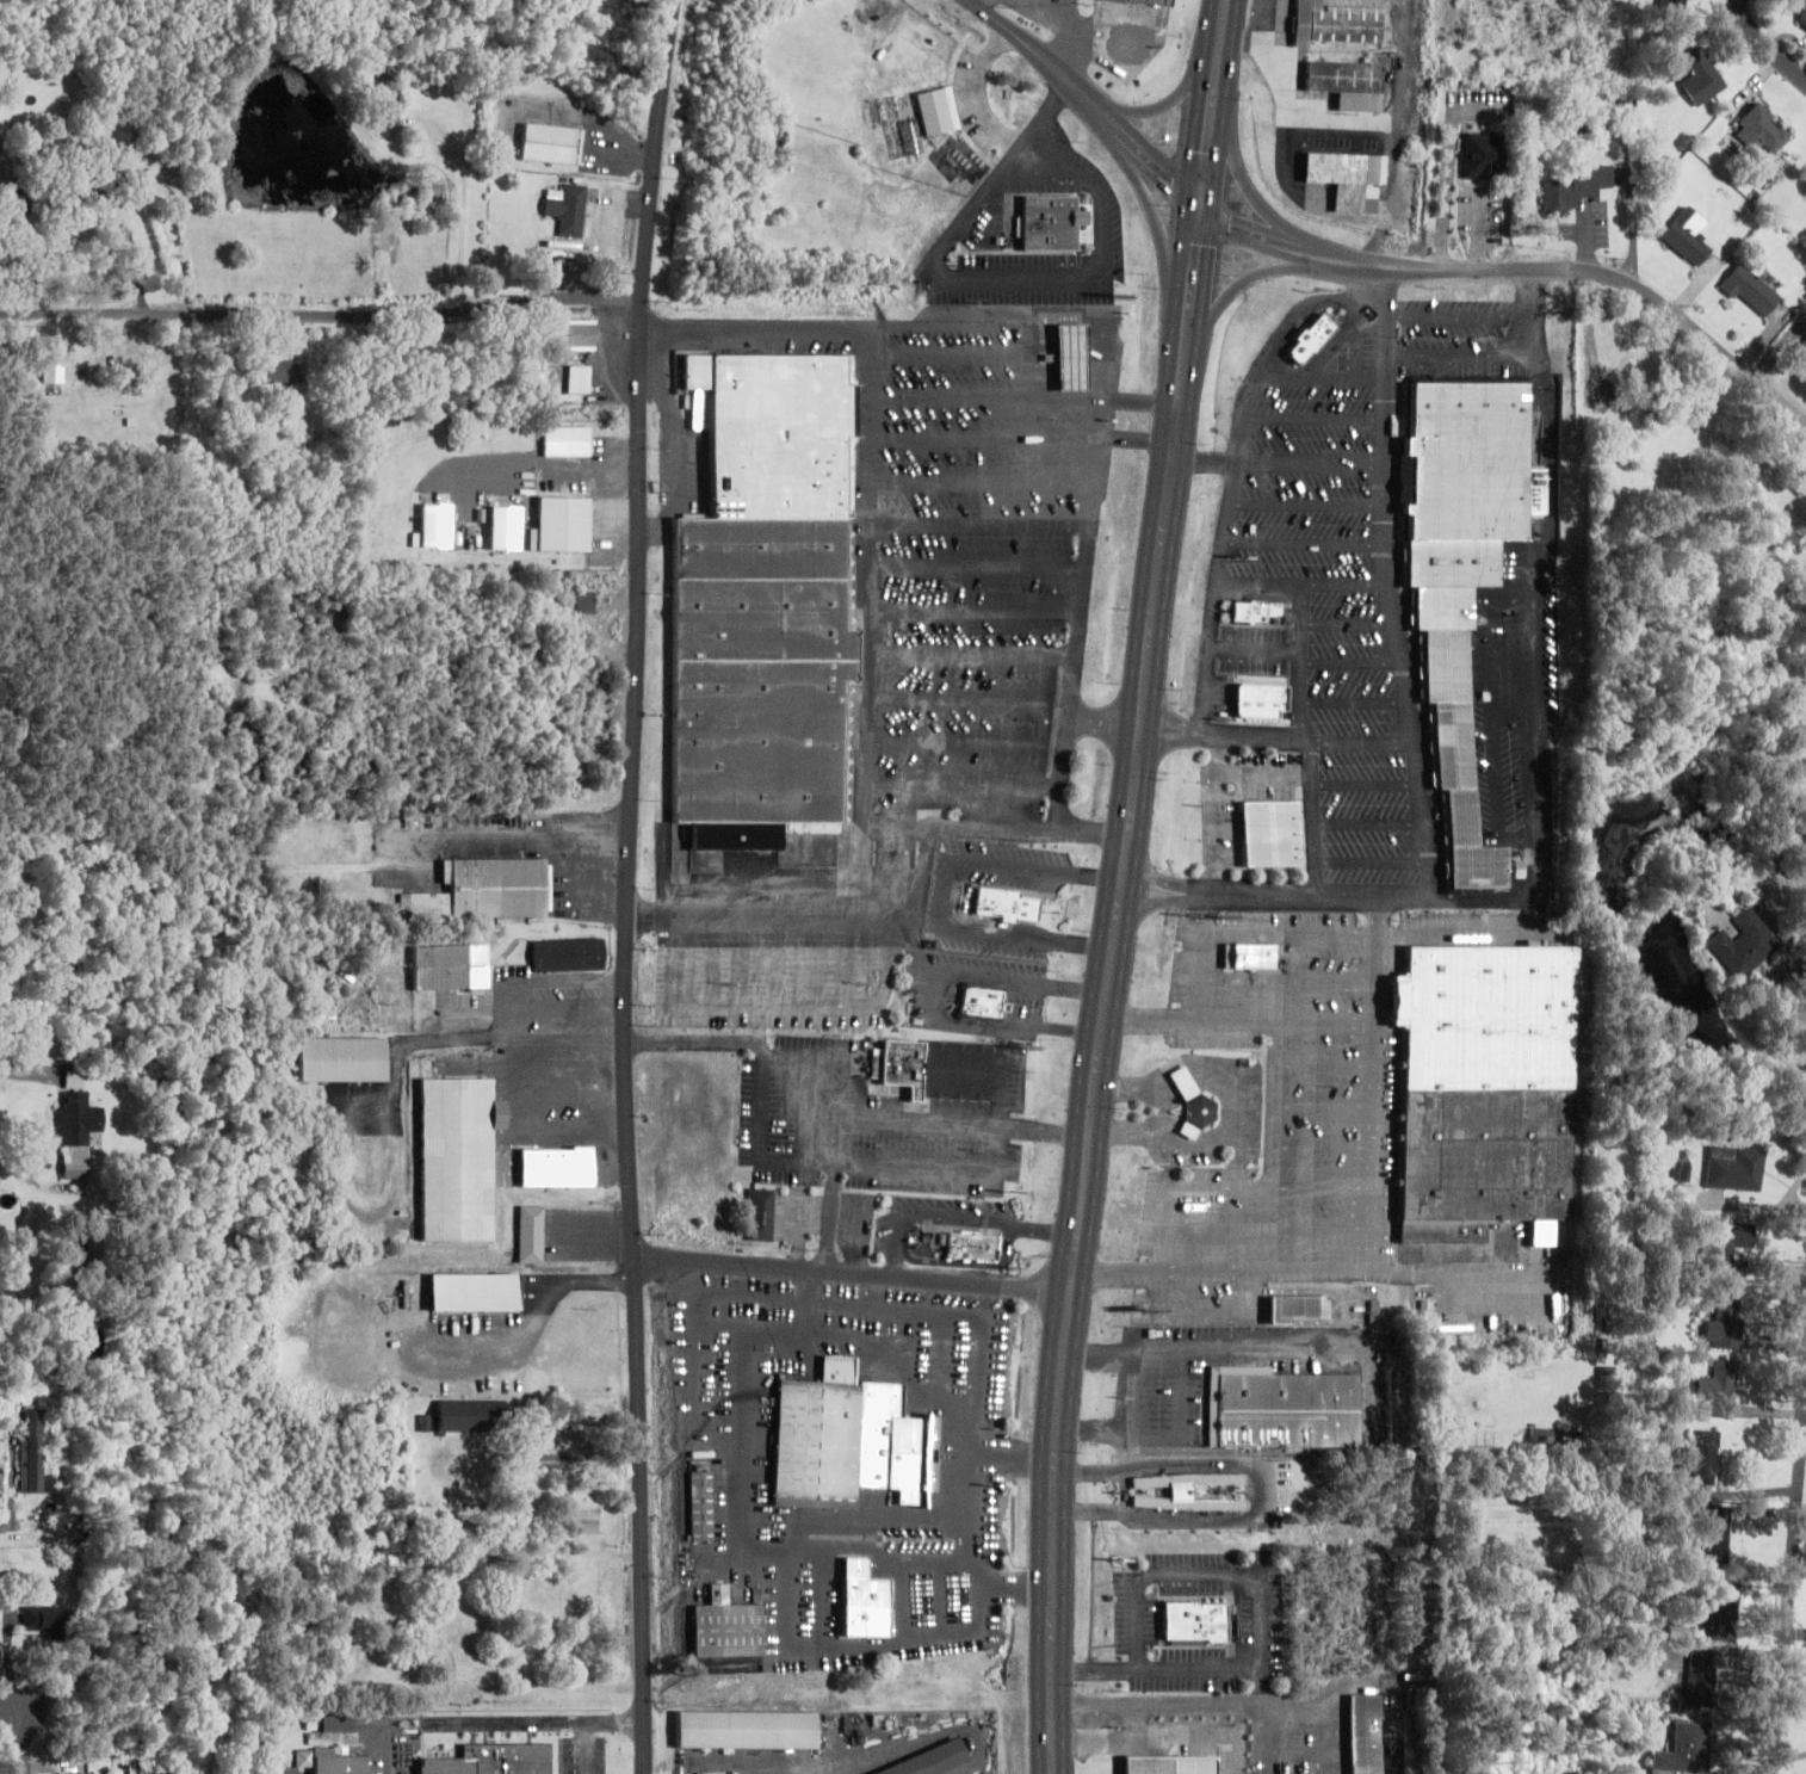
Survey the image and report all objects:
building: (1148, 1)
building: (1672, 5)
building: (1804, 16)
building: (1336, 23)
road: (1765, 47)
building: (1693, 73)
building: (1347, 82)
road: (979, 92)
road: (1164, 103)
building: (389, 107)
building: (938, 110)
building: (91, 123)
building: (1762, 129)
building: (552, 143)
building: (111, 152)
building: (1484, 155)
building: (1805, 173)
building: (1349, 178)
building: (1576, 186)
road: (1256, 194)
building: (568, 209)
traffic signals: (1201, 210)
road: (462, 212)
building: (1053, 221)
road: (1158, 229)
building: (1688, 235)
road: (1367, 265)
road: (982, 277)
road: (1256, 277)
building: (1751, 290)
road: (1534, 310)
road: (320, 313)
road: (1462, 316)
building: (577, 334)
building: (1311, 338)
building: (1802, 346)
road: (1461, 354)
building: (1069, 357)
building: (1644, 364)
road: (1437, 370)
building: (279, 371)
building: (581, 378)
building: (125, 388)
road: (1317, 418)
road: (1175, 420)
building: (778, 432)
building: (569, 440)
road: (1280, 463)
road: (1232, 488)
road: (1311, 503)
building: (563, 524)
road: (1309, 542)
building: (1470, 576)
road: (1394, 582)
road: (1349, 585)
building: (585, 601)
building: (1258, 611)
road: (1354, 623)
road: (1357, 661)
road: (1540, 672)
building: (757, 675)
road: (1305, 697)
building: (1264, 700)
road: (1359, 701)
road: (1242, 736)
road: (1367, 784)
road: (1369, 822)
building: (1269, 833)
road: (1369, 861)
road: (1154, 874)
road: (1118, 884)
road: (625, 885)
building: (487, 889)
road: (944, 891)
road: (1311, 892)
road: (1151, 904)
building: (1006, 905)
building: (1743, 944)
building: (568, 954)
building: (1248, 956)
building: (451, 965)
building: (985, 1002)
building: (341, 1058)
building: (942, 1068)
building: (1489, 1086)
building: (1188, 1104)
building: (78, 1119)
building: (457, 1157)
building: (75, 1163)
building: (556, 1166)
building: (1733, 1168)
building: (1681, 1170)
building: (761, 1213)
building: (531, 1232)
building: (1733, 1241)
building: (970, 1242)
road: (849, 1269)
building: (475, 1292)
building: (1299, 1308)
building: (1727, 1325)
road: (1063, 1349)
building: (1721, 1387)
building: (1285, 1408)
building: (471, 1415)
building: (1550, 1435)
building: (839, 1441)
building: (35, 1451)
building: (1701, 1457)
building: (1188, 1488)
building: (1212, 1488)
building: (698, 1504)
building: (588, 1522)
building: (1715, 1537)
road: (1789, 1601)
building: (1721, 1612)
building: (45, 1618)
building: (1193, 1622)
building: (724, 1625)
building: (1678, 1631)
building: (1700, 1685)
building: (338, 1723)
building: (743, 1725)
building: (1366, 1733)
building: (1686, 1749)
building: (301, 1758)
building: (921, 1758)
building: (494, 1760)
building: (340, 1761)
building: (1168, 1763)

